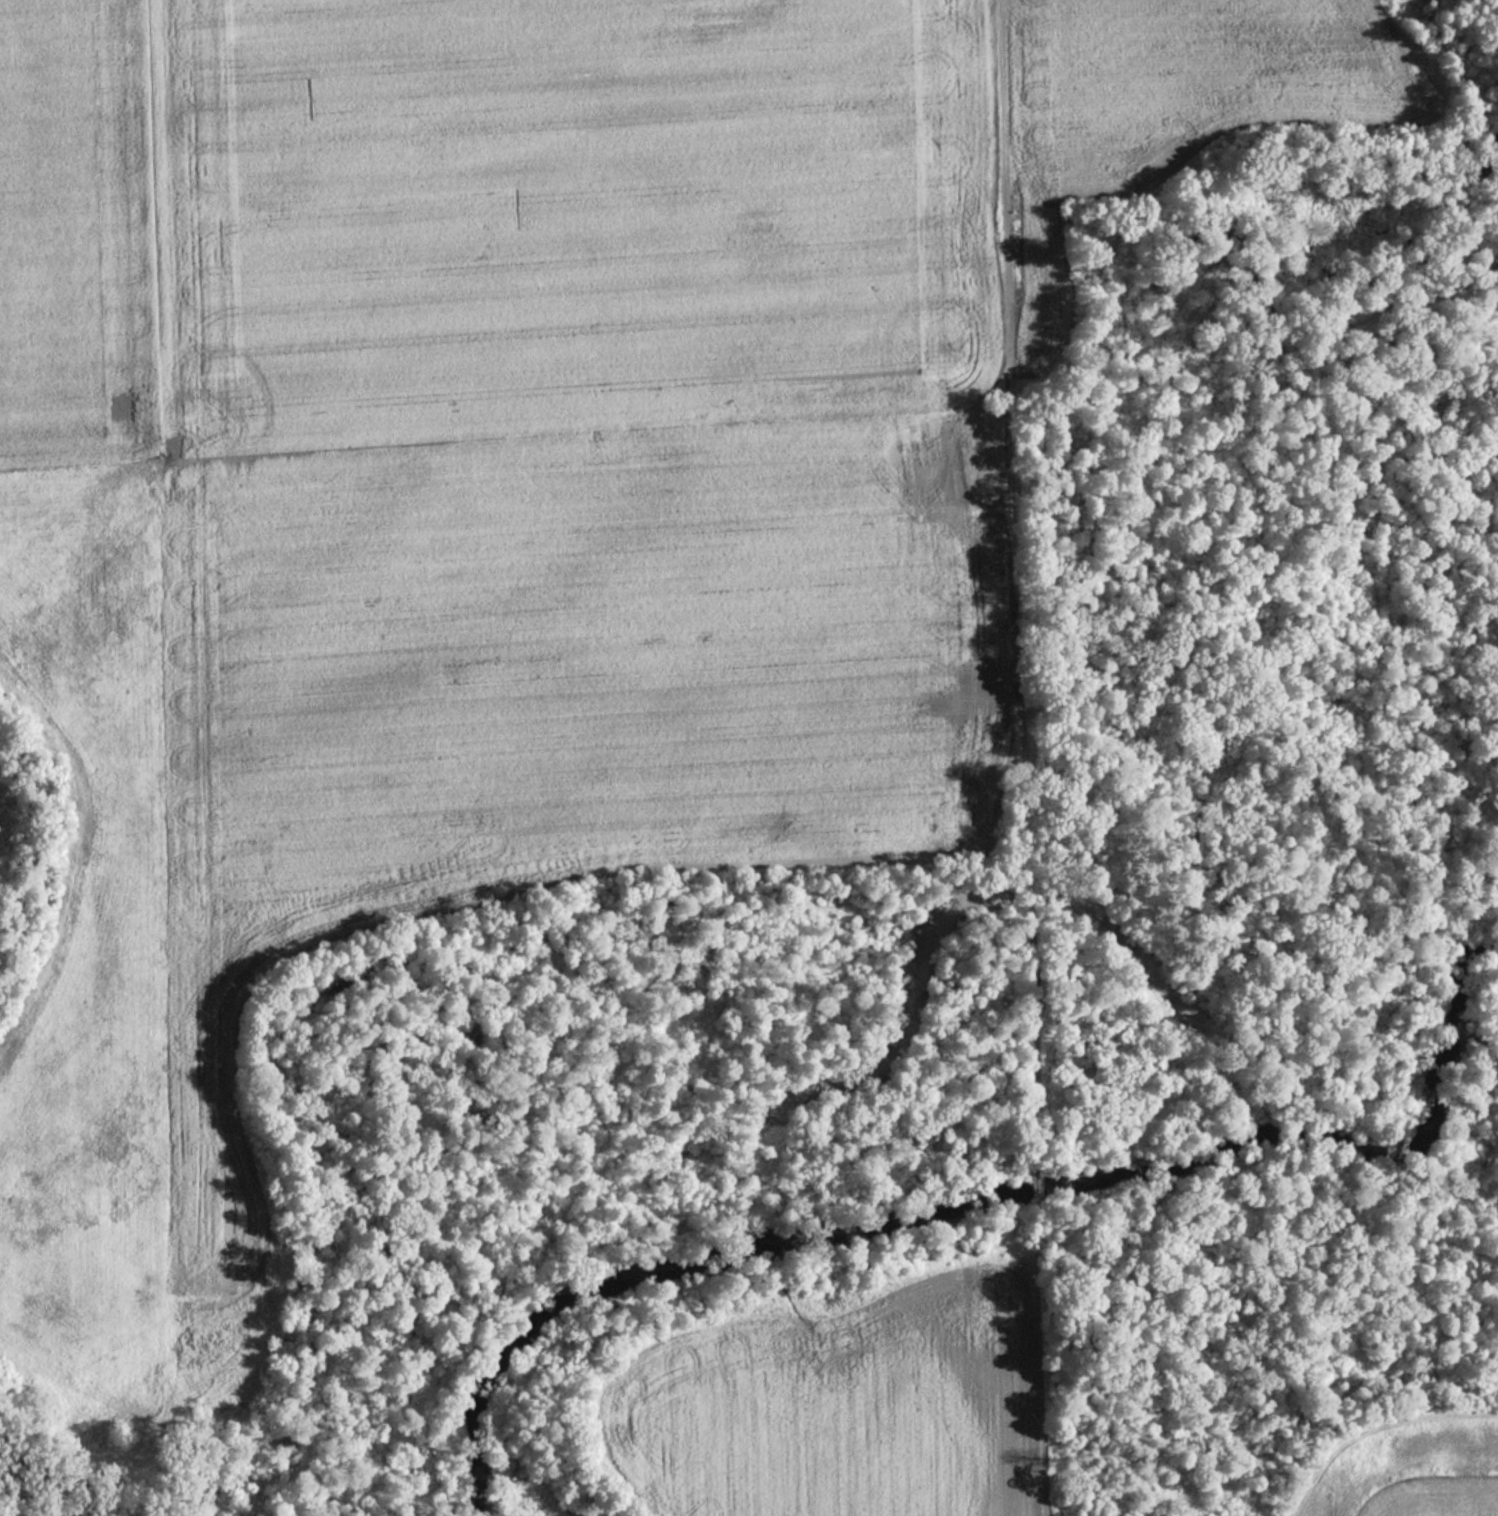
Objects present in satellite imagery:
road: (1022, 526)
road: (1038, 1101)
road: (1040, 1183)
road: (1044, 1268)
road: (1049, 1417)
crop: (1437, 1499)

